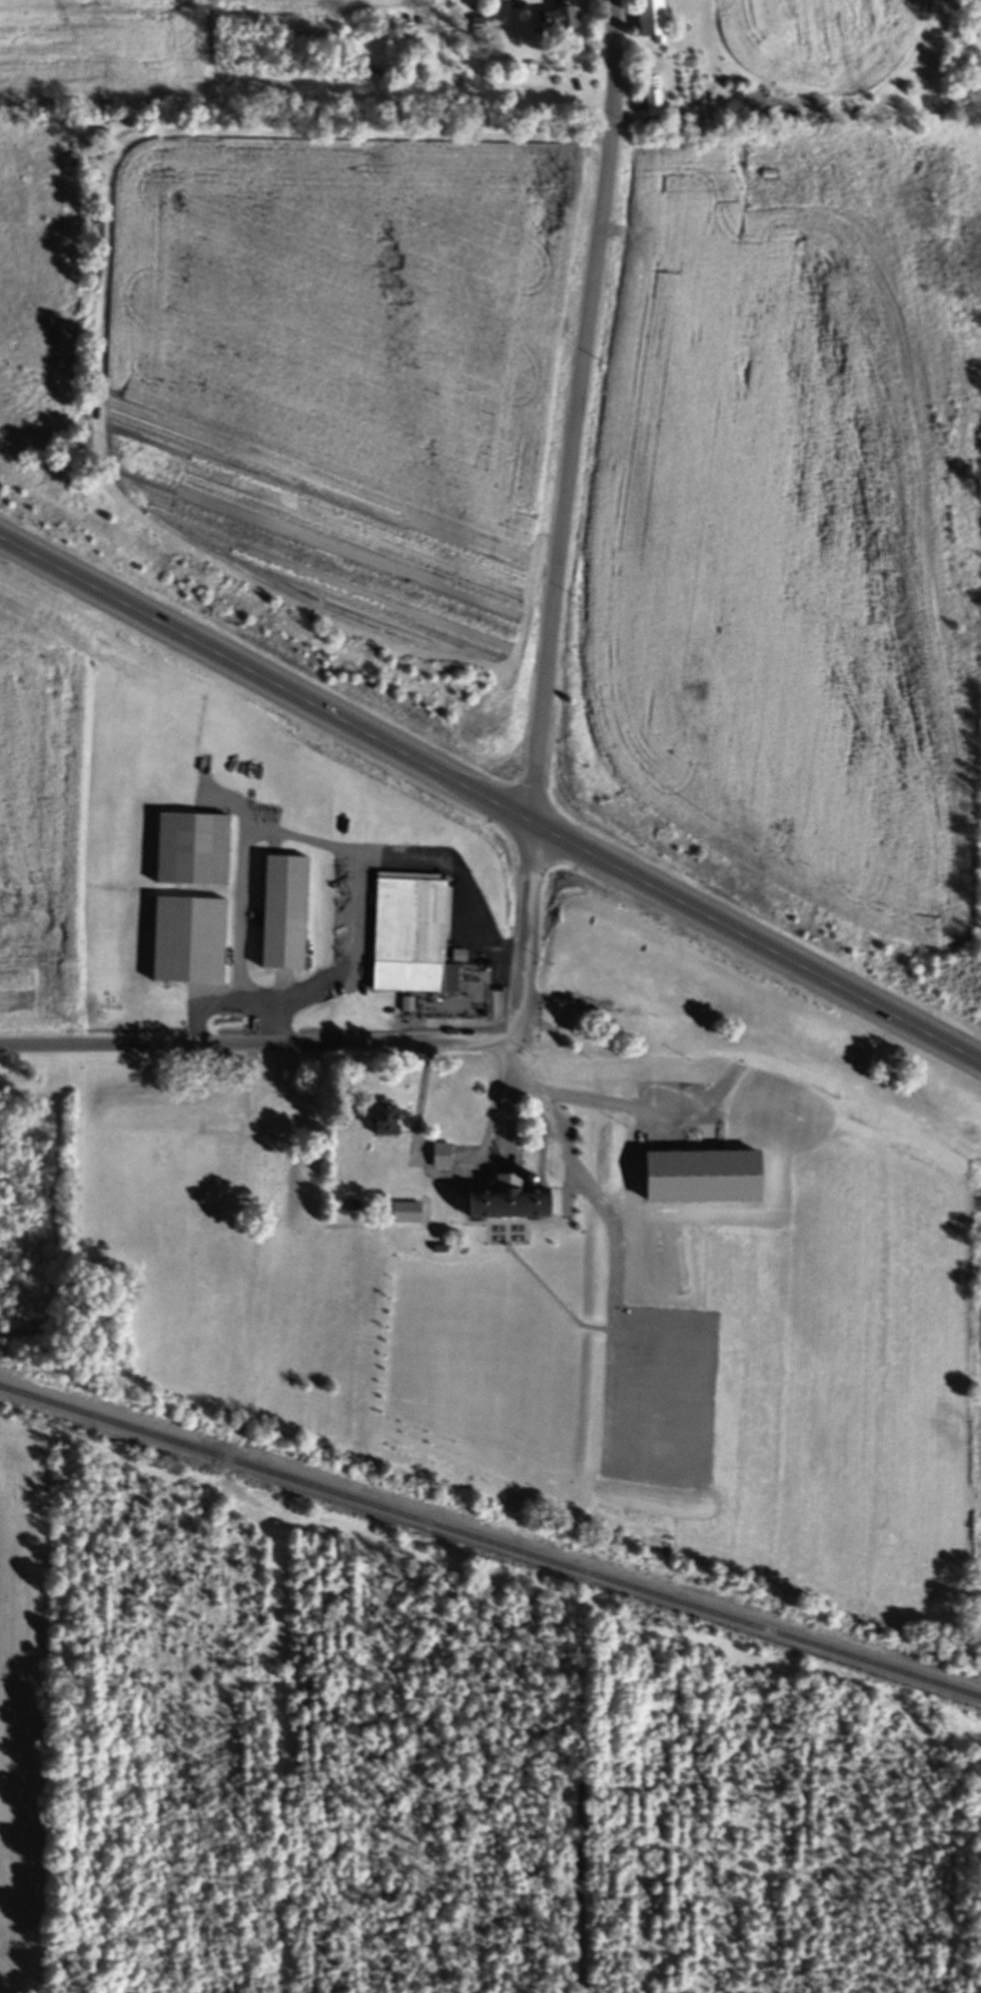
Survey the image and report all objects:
building: (651, 21)
building: (559, 24)
building: (652, 99)
road: (580, 410)
road: (492, 795)
building: (192, 851)
road: (461, 880)
road: (234, 910)
building: (284, 914)
road: (349, 920)
building: (411, 936)
building: (188, 942)
road: (266, 1020)
road: (365, 1043)
road: (571, 1096)
building: (384, 1120)
building: (442, 1158)
road: (434, 1176)
building: (507, 1205)
building: (406, 1214)
road: (356, 1536)
railway: (490, 1544)
road: (949, 1738)
road: (282, 1753)
road: (582, 1798)

